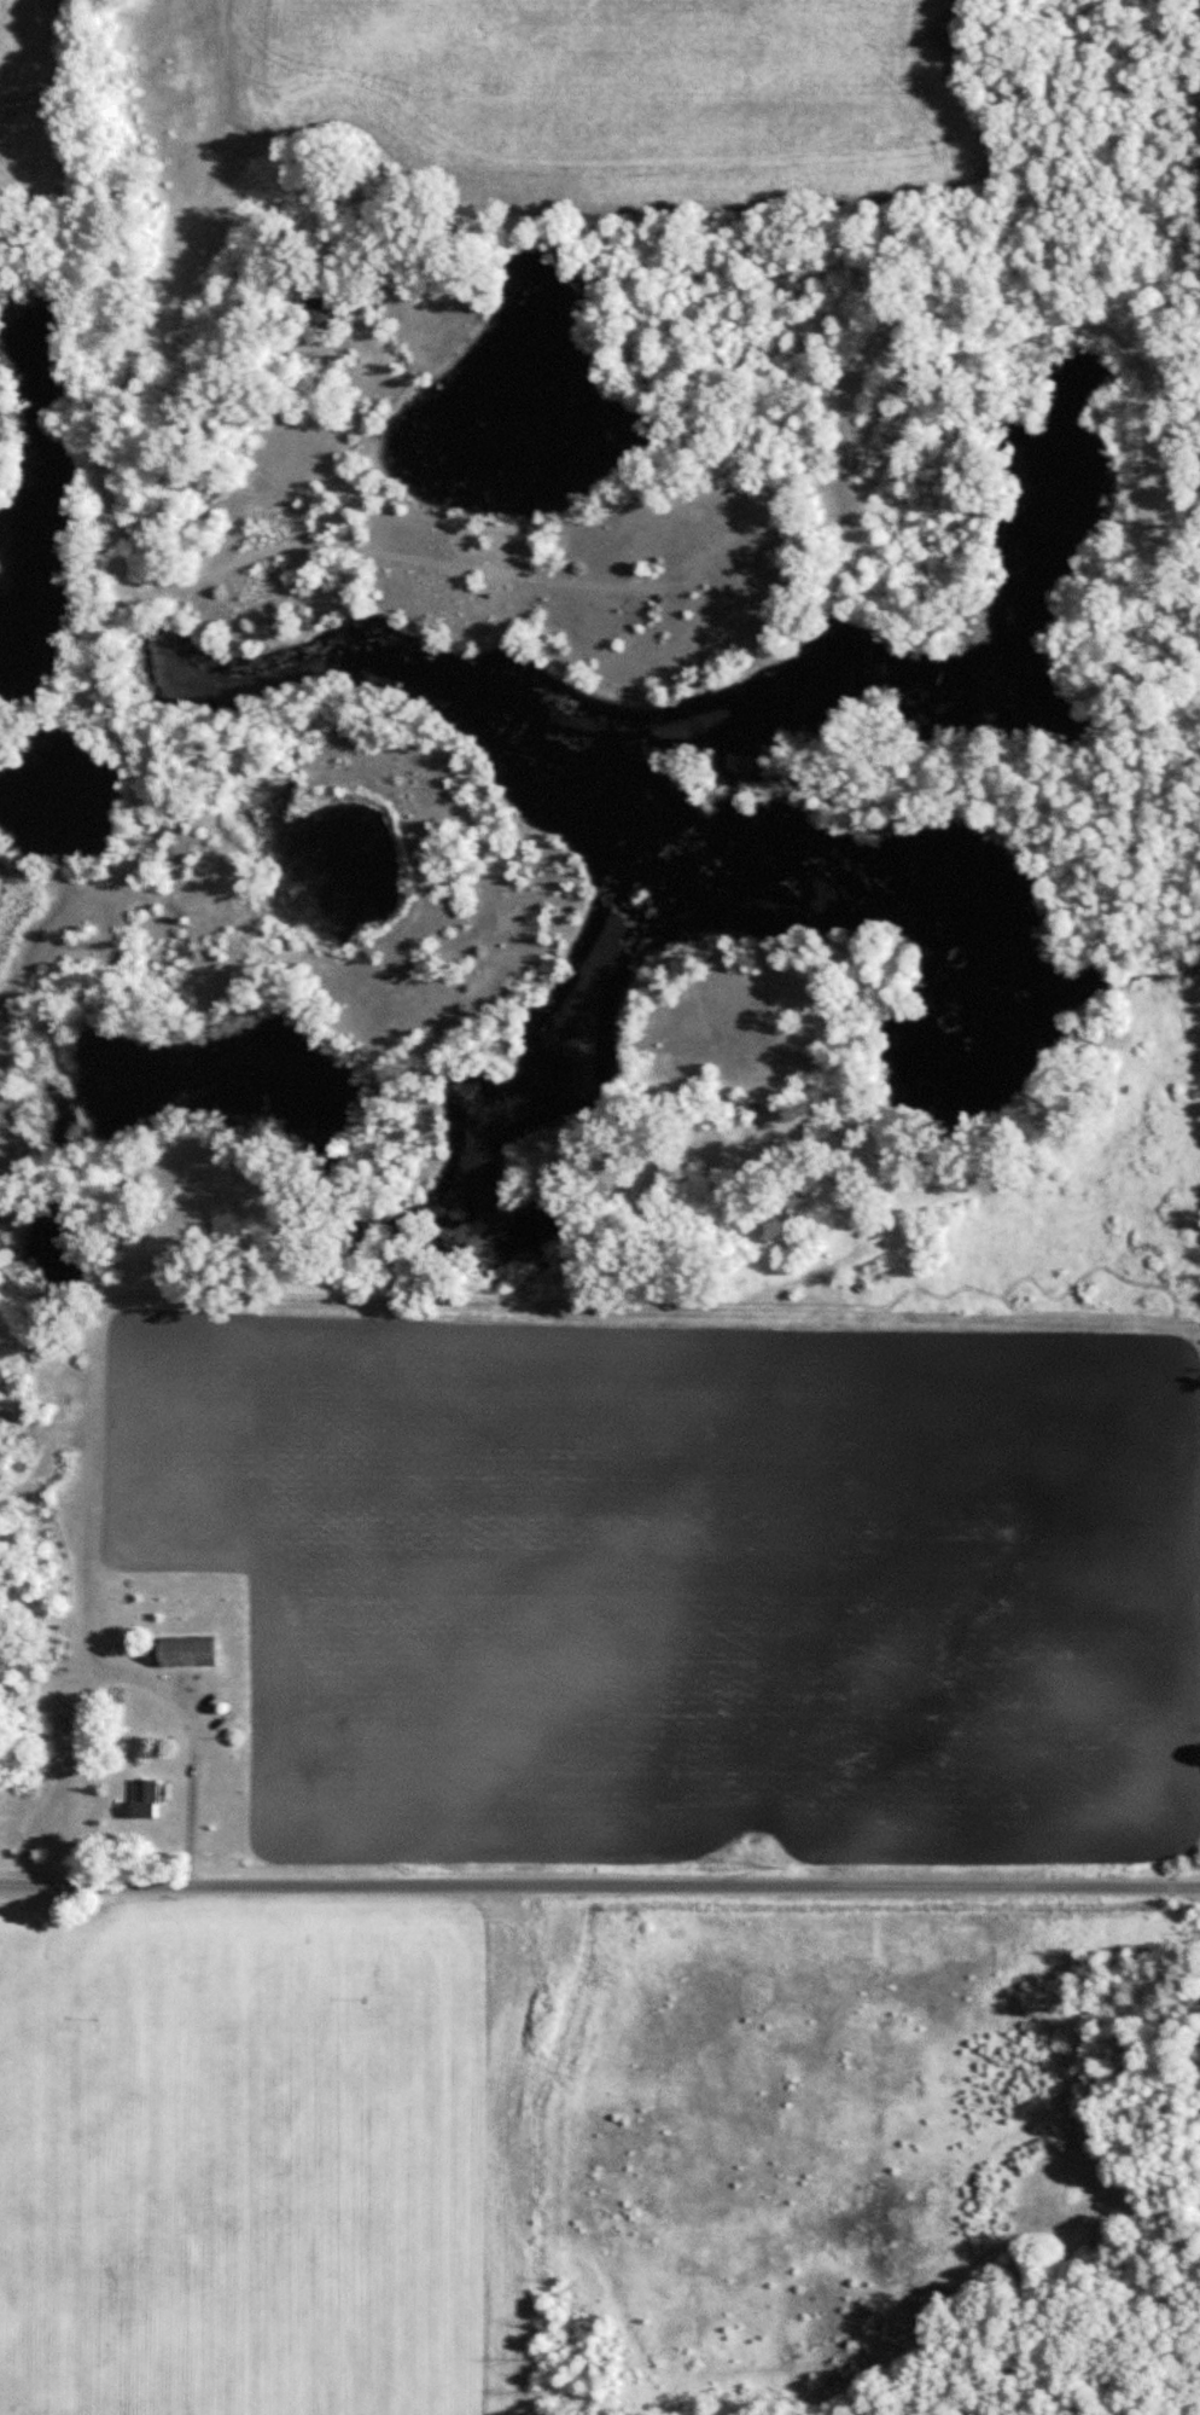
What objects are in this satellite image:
road: (251, 91)
building: (97, 761)
road: (91, 894)
building: (182, 1650)
road: (192, 1789)
building: (145, 1798)
road: (600, 1885)

